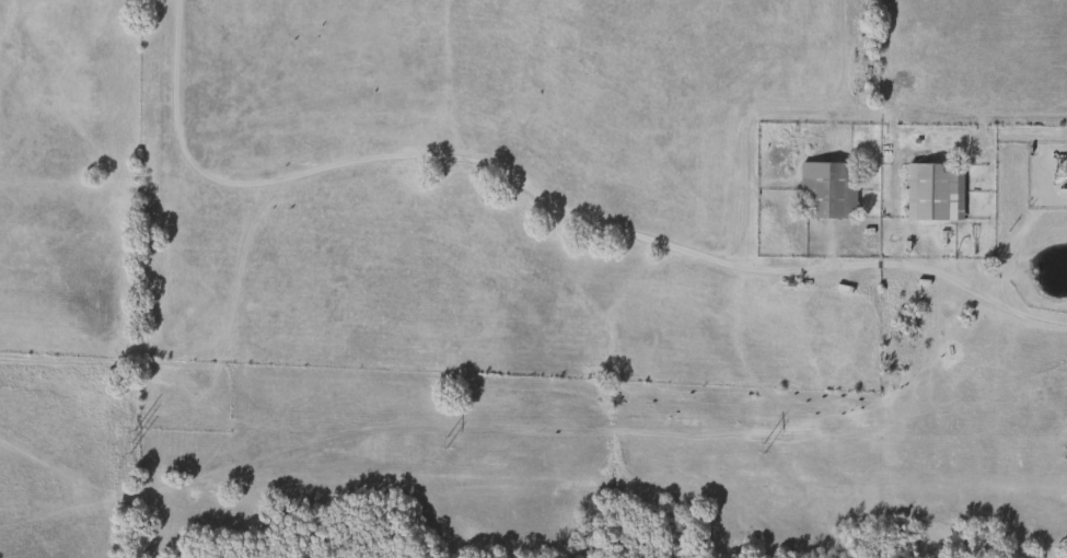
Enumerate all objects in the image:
building: (824, 188)
building: (931, 190)
road: (986, 298)
power tower: (134, 441)
power tower: (446, 442)
power tower: (764, 449)
power tower: (1065, 452)

